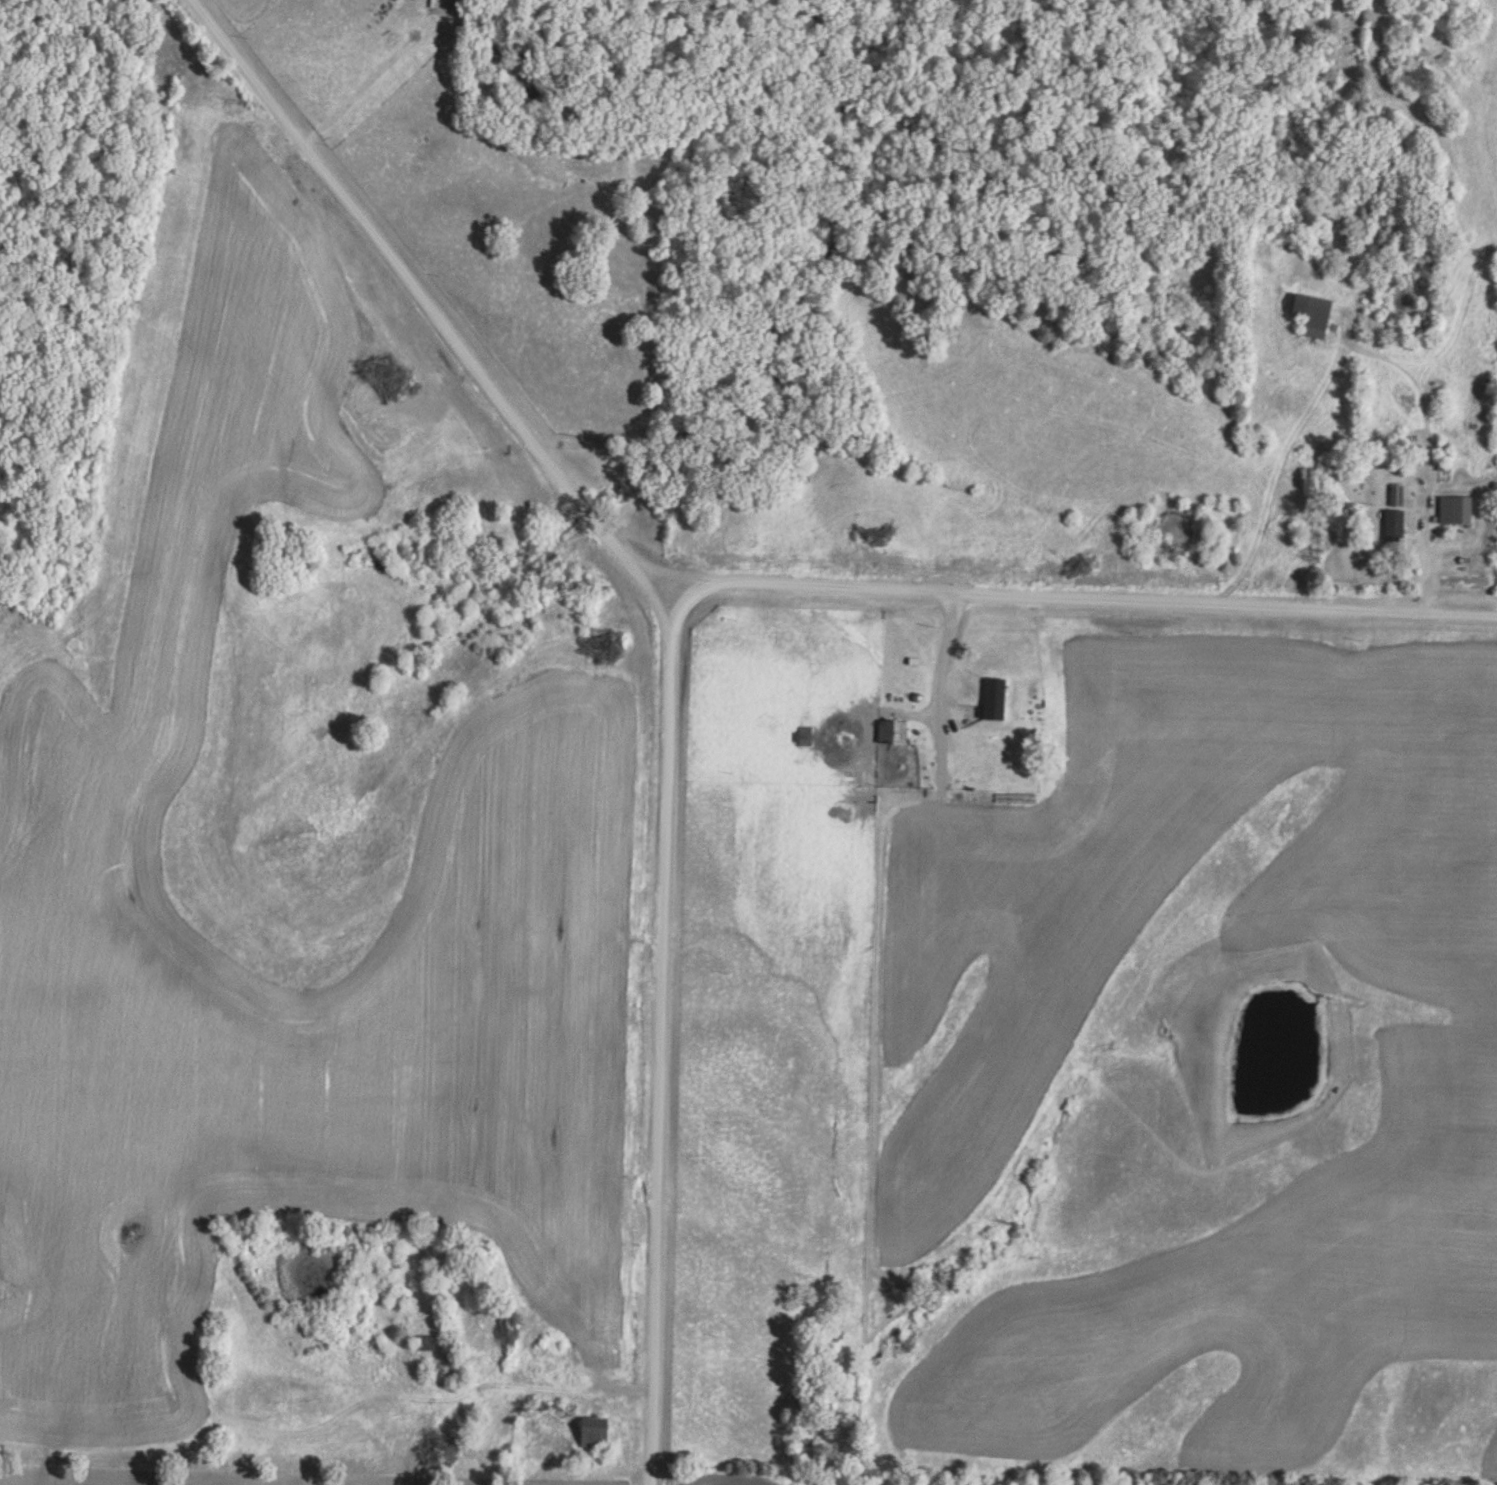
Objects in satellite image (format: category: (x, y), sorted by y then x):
building: (1314, 316)
building: (1396, 496)
building: (1455, 511)
park: (1496, 520)
building: (1394, 527)
road: (1060, 598)
road: (684, 601)
road: (669, 661)
building: (1008, 694)
building: (892, 733)
building: (993, 734)
building: (425, 1342)
building: (597, 1433)

